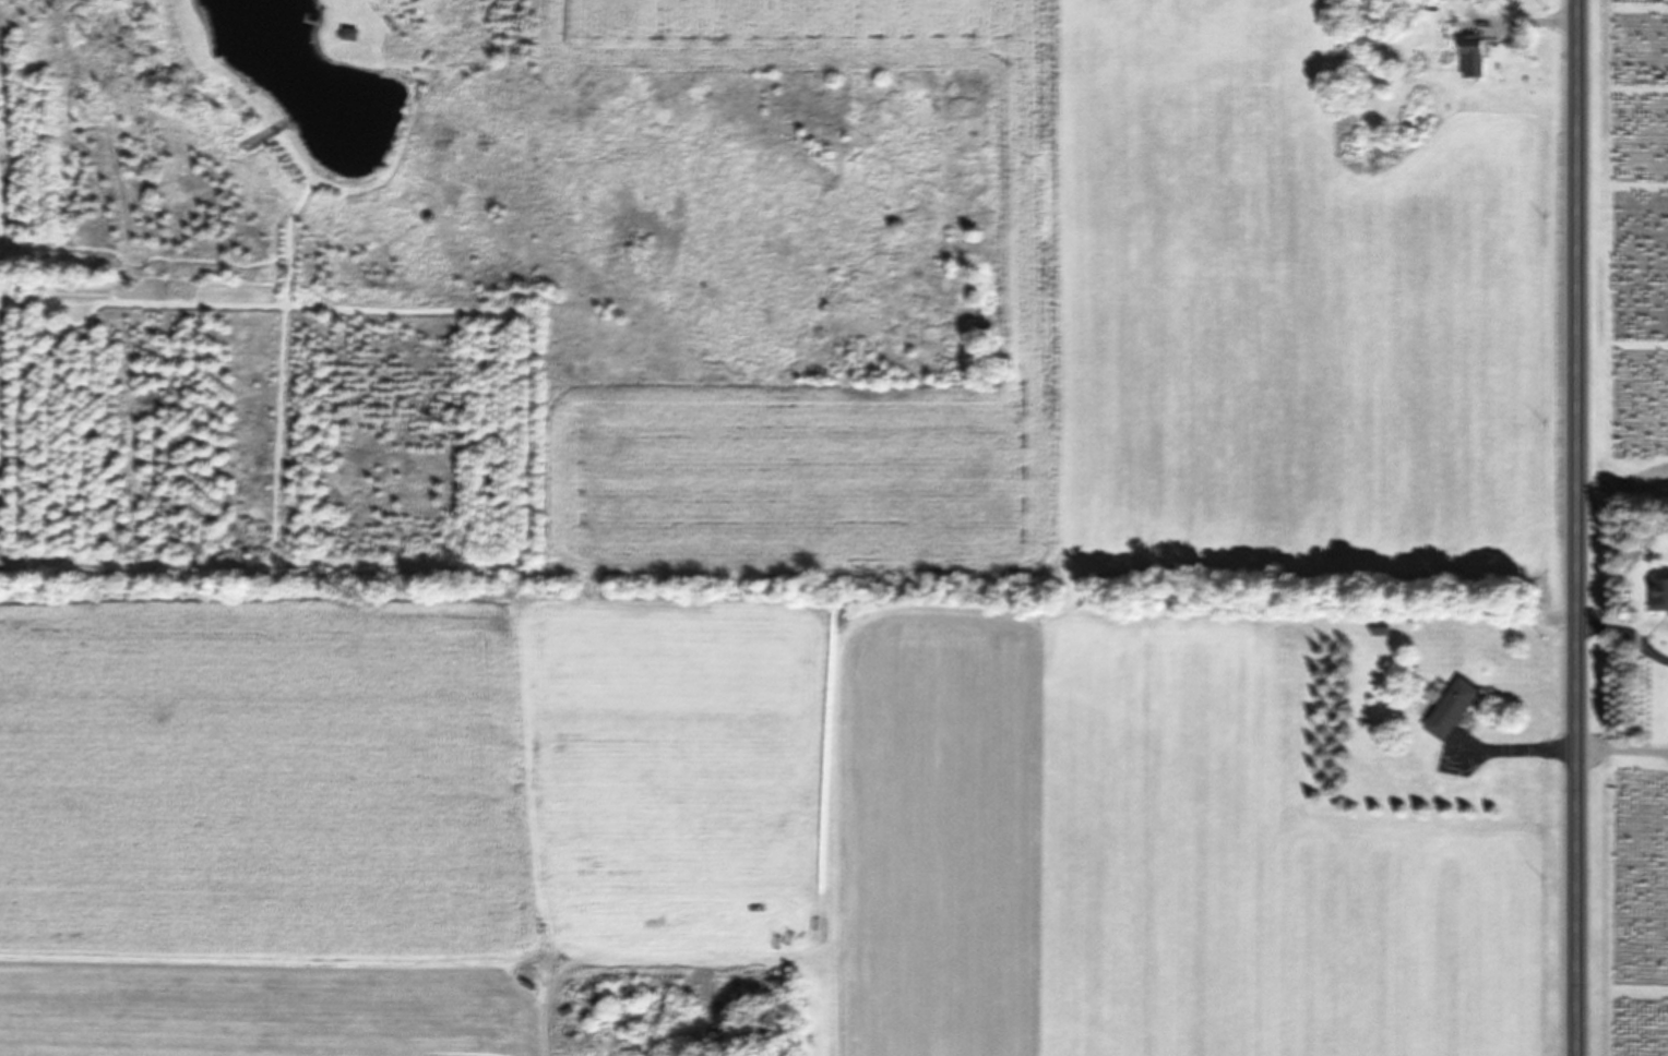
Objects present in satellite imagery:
building: (1476, 57)
road: (1576, 527)
crop: (877, 585)
building: (1660, 595)
building: (1455, 709)

